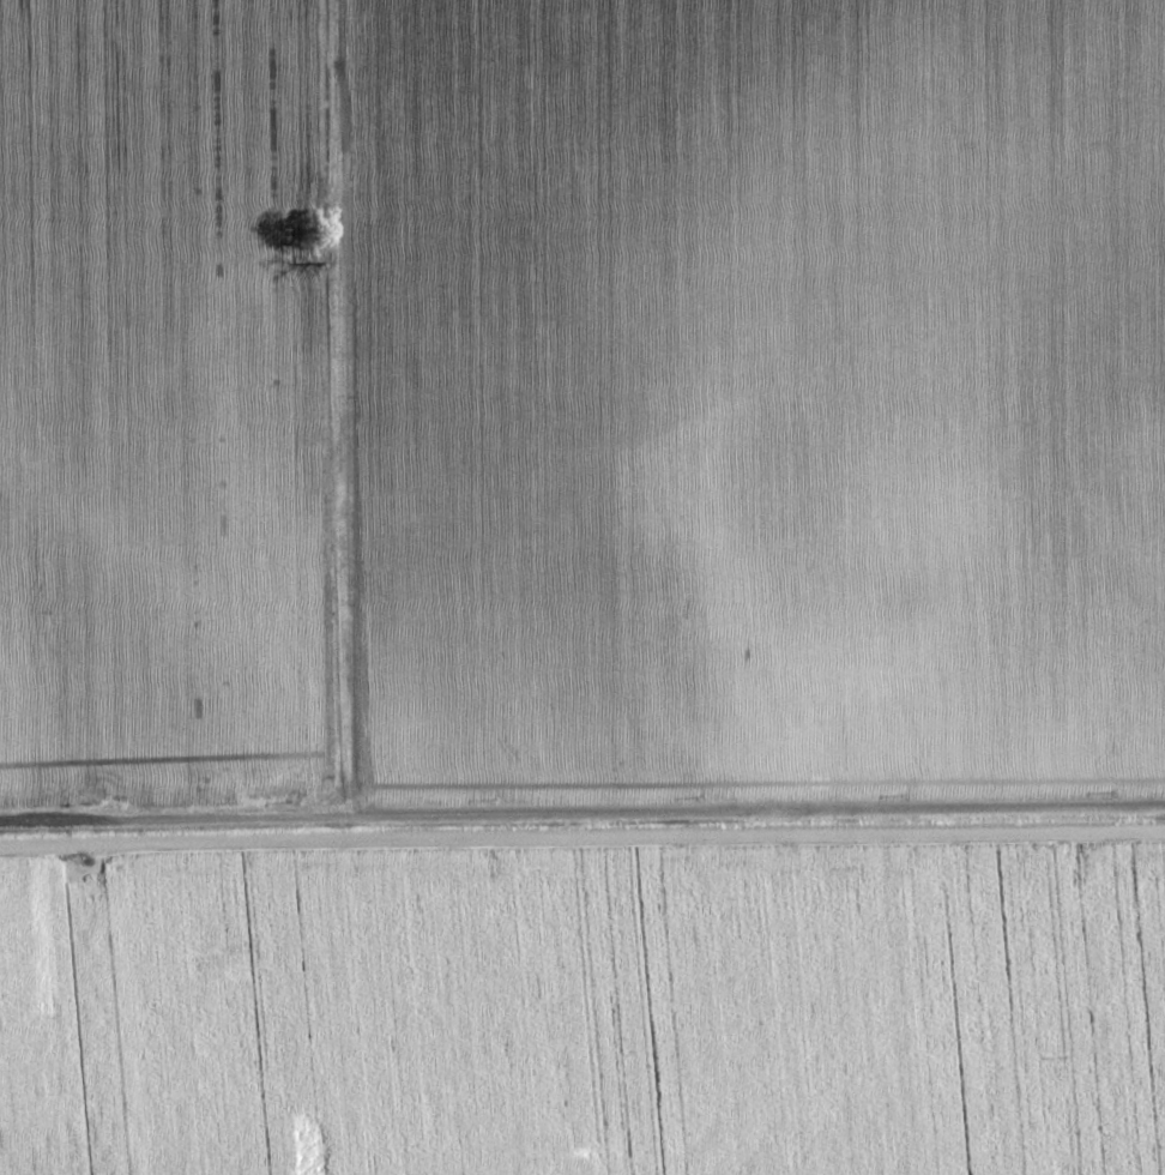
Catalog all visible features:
road: (581, 811)
road: (1118, 995)

